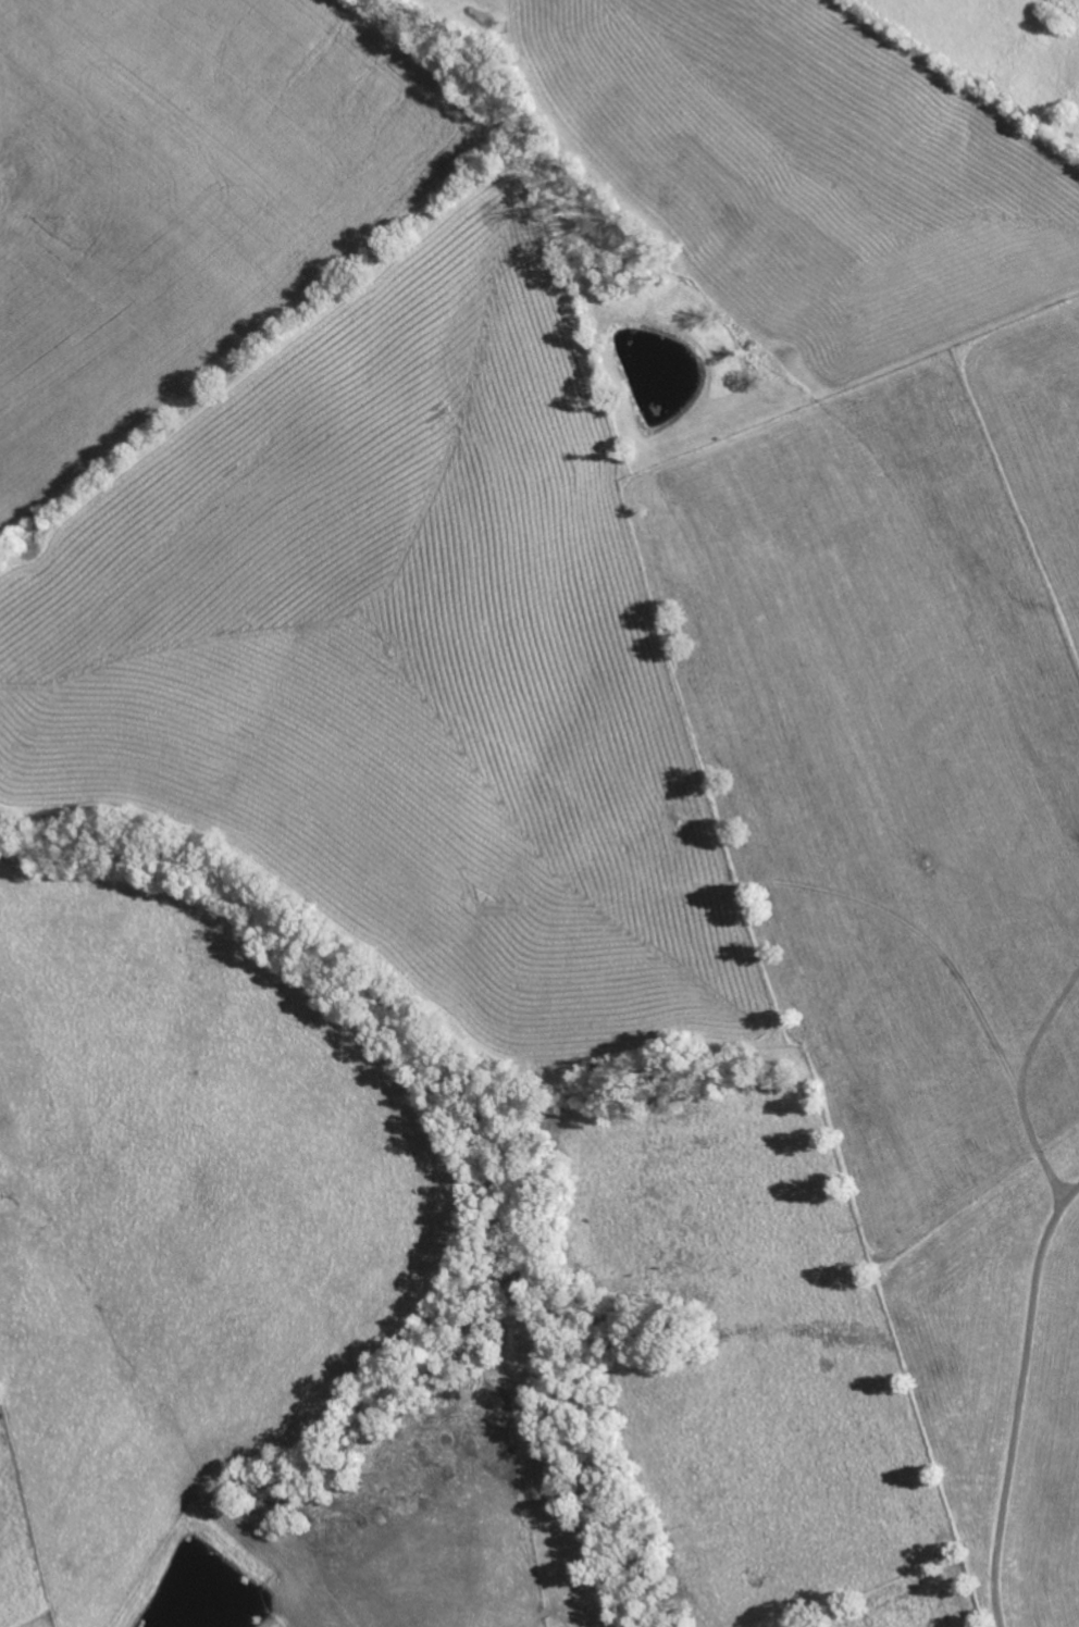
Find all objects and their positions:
road: (1020, 1082)
road: (1021, 1403)

